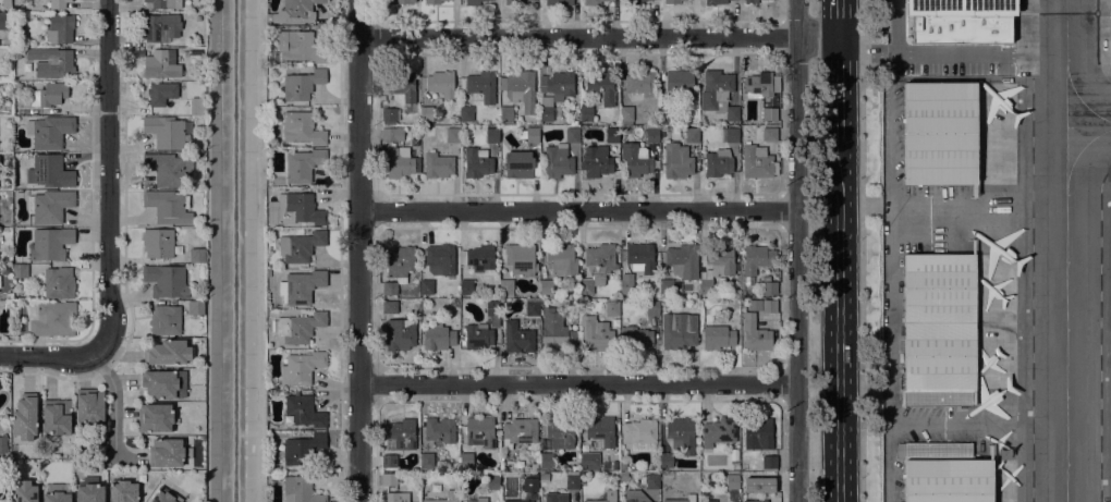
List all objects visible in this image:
building: (71, 0)
building: (490, 0)
building: (396, 1)
building: (434, 1)
building: (516, 1)
building: (673, 1)
building: (750, 1)
building: (473, 2)
building: (559, 2)
building: (594, 2)
building: (632, 2)
building: (715, 2)
building: (7, 3)
building: (159, 3)
building: (58, 4)
building: (294, 13)
road: (839, 17)
airport hangar: (961, 21)
building: (961, 21)
building: (7, 22)
building: (161, 27)
building: (59, 28)
road: (598, 36)
building: (298, 47)
building: (15, 51)
building: (49, 63)
building: (160, 65)
building: (638, 82)
building: (681, 84)
building: (776, 84)
building: (302, 85)
building: (758, 85)
building: (402, 86)
building: (441, 86)
building: (479, 86)
building: (602, 86)
road: (840, 87)
building: (520, 89)
building: (554, 93)
building: (161, 94)
building: (719, 94)
building: (49, 95)
airport taxiway: (1079, 101)
building: (197, 107)
building: (426, 113)
building: (585, 113)
building: (667, 113)
building: (506, 114)
building: (769, 114)
building: (390, 115)
building: (466, 115)
building: (625, 115)
building: (485, 121)
building: (301, 128)
building: (49, 132)
building: (166, 132)
building: (651, 133)
airport hangar: (939, 133)
building: (939, 133)
building: (389, 134)
building: (769, 134)
building: (452, 135)
building: (491, 135)
building: (529, 135)
building: (572, 135)
building: (612, 135)
building: (692, 135)
building: (732, 135)
airport taxiway: (1077, 155)
building: (635, 160)
building: (558, 161)
building: (596, 161)
building: (399, 162)
building: (477, 162)
building: (757, 162)
building: (718, 163)
building: (303, 164)
building: (676, 164)
building: (438, 166)
building: (518, 166)
building: (167, 169)
building: (49, 172)
building: (49, 206)
building: (168, 207)
building: (298, 209)
road: (577, 209)
road: (108, 235)
building: (158, 243)
building: (50, 244)
building: (300, 246)
road: (260, 250)
road: (358, 250)
road: (797, 250)
road: (860, 250)
airport: (996, 250)
airport taxiway: (1066, 250)
building: (197, 256)
building: (640, 256)
building: (479, 258)
building: (756, 258)
building: (440, 259)
building: (521, 259)
building: (561, 260)
building: (597, 266)
building: (716, 267)
building: (398, 268)
building: (680, 268)
building: (20, 271)
building: (268, 273)
building: (166, 281)
building: (748, 281)
building: (59, 283)
building: (301, 286)
building: (626, 286)
building: (426, 287)
building: (466, 287)
building: (546, 287)
building: (506, 289)
building: (769, 289)
building: (9, 296)
building: (624, 297)
building: (769, 305)
building: (389, 306)
building: (196, 307)
building: (612, 307)
building: (533, 308)
building: (651, 308)
building: (492, 313)
building: (54, 319)
building: (164, 320)
road: (840, 320)
building: (300, 328)
building: (679, 330)
airport hangar: (939, 330)
building: (939, 330)
building: (557, 331)
building: (400, 334)
building: (596, 334)
building: (755, 334)
building: (438, 335)
building: (720, 335)
building: (478, 336)
building: (516, 338)
building: (637, 339)
building: (167, 353)
road: (47, 356)
building: (301, 368)
road: (577, 382)
building: (163, 383)
building: (89, 406)
building: (302, 412)
building: (57, 416)
building: (25, 417)
building: (155, 418)
building: (601, 431)
building: (639, 431)
building: (439, 432)
building: (480, 432)
building: (518, 432)
building: (719, 432)
building: (401, 434)
building: (560, 434)
building: (681, 434)
building: (758, 434)
building: (3, 445)
building: (640, 446)
building: (302, 449)
building: (167, 453)
building: (734, 454)
building: (666, 460)
building: (466, 461)
building: (546, 461)
building: (588, 461)
building: (426, 462)
building: (389, 463)
building: (769, 463)
building: (623, 466)
building: (736, 466)
building: (503, 469)
building: (944, 473)
building: (623, 476)
building: (389, 479)
building: (768, 480)
building: (650, 481)
building: (730, 481)
building: (492, 482)
building: (573, 482)
building: (530, 485)
building: (300, 490)
building: (123, 491)
building: (24, 492)
building: (89, 492)
building: (56, 497)
building: (161, 497)
building: (396, 497)
building: (445, 497)
building: (550, 497)
building: (606, 497)
building: (635, 497)
building: (691, 497)
building: (476, 500)
building: (515, 501)
building: (710, 501)
building: (755, 501)

